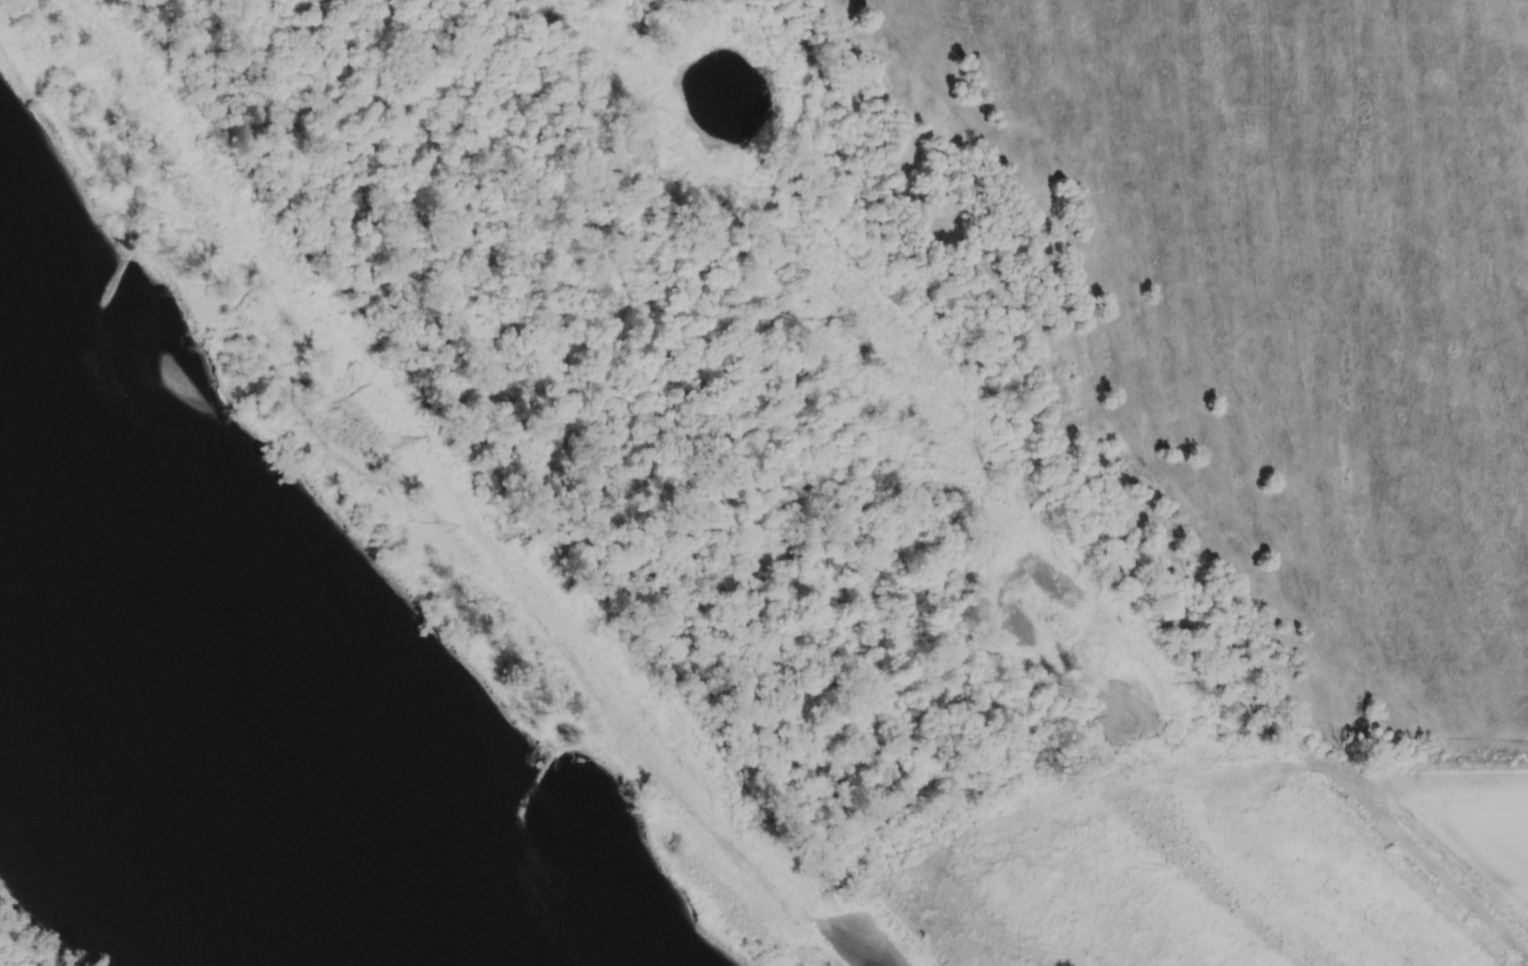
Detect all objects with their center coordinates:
river: (203, 753)

